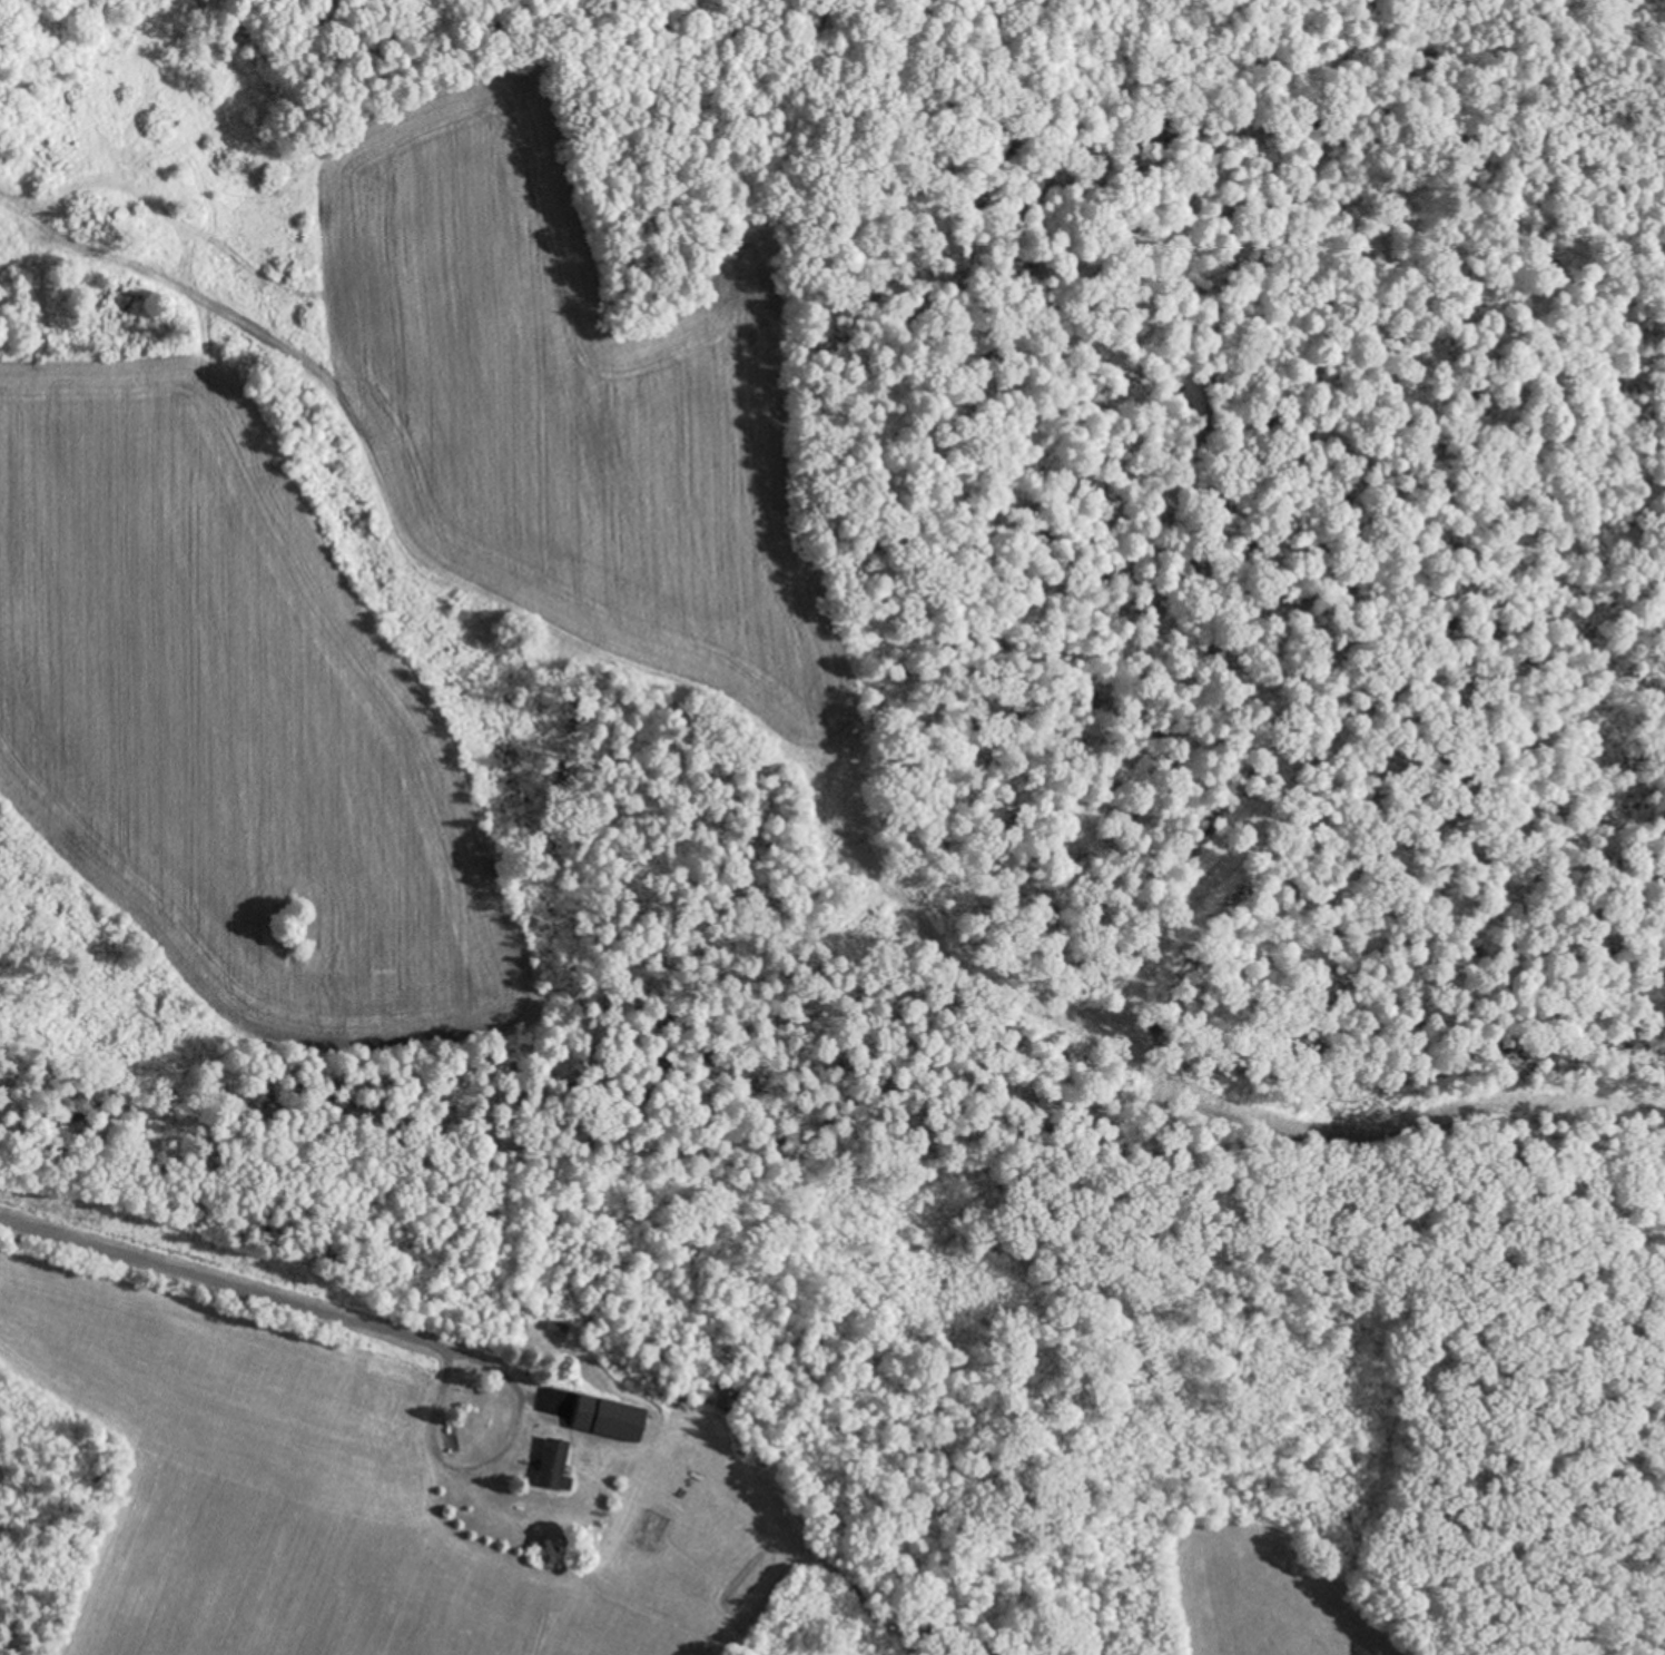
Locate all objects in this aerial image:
road: (277, 284)
building: (559, 1331)
building: (608, 1420)
building: (553, 1467)

